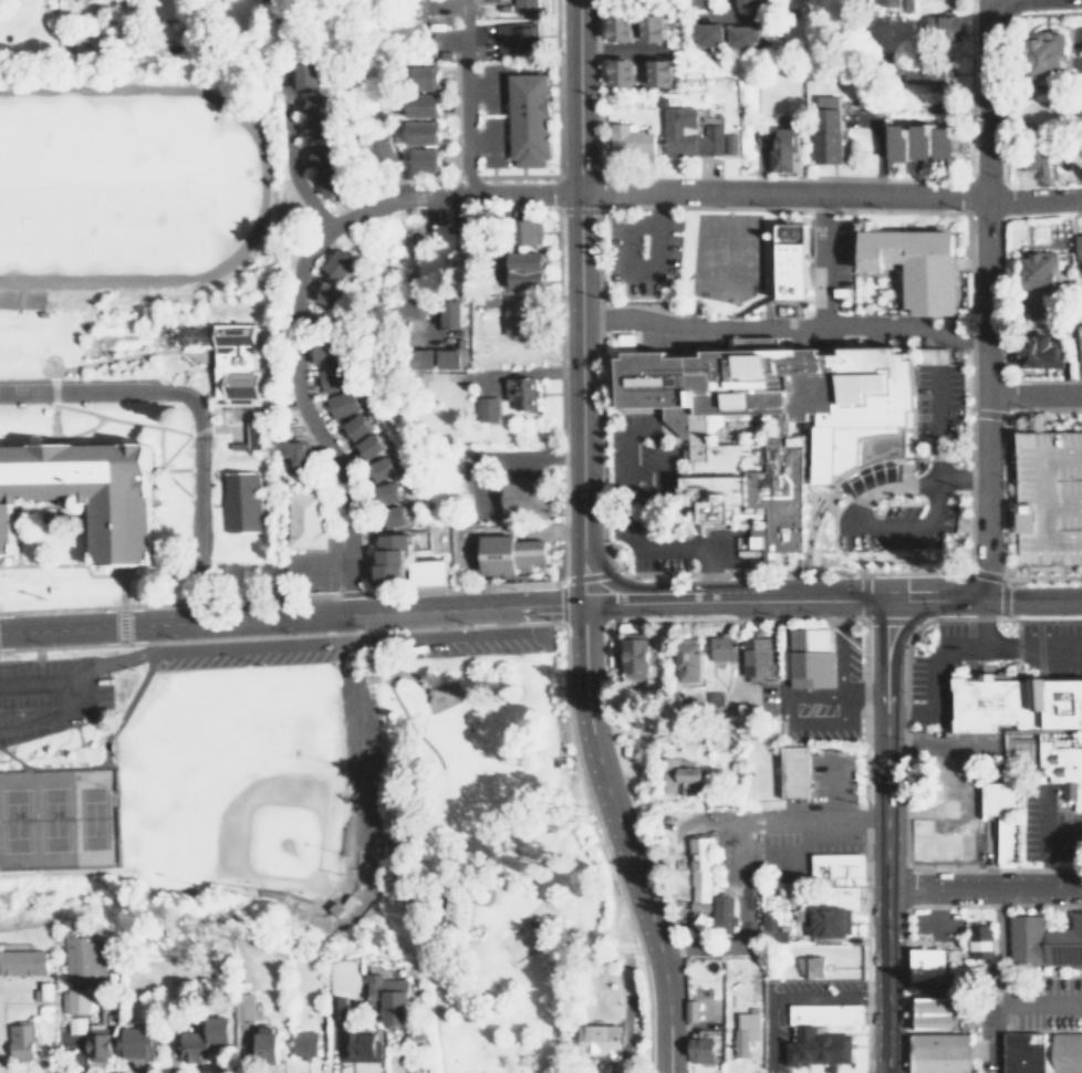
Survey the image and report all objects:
building: (887, 1)
building: (701, 2)
building: (748, 2)
building: (524, 6)
road: (720, 7)
building: (944, 25)
building: (622, 27)
building: (655, 27)
building: (707, 33)
building: (741, 35)
building: (517, 37)
road: (617, 49)
building: (1045, 51)
building: (622, 71)
building: (659, 71)
building: (306, 75)
building: (425, 76)
building: (927, 77)
road: (468, 101)
building: (321, 104)
building: (423, 104)
building: (529, 118)
building: (318, 128)
building: (829, 128)
building: (423, 132)
building: (689, 133)
building: (631, 138)
building: (913, 140)
building: (731, 143)
building: (946, 144)
building: (783, 147)
building: (383, 148)
building: (322, 153)
road: (292, 157)
building: (425, 159)
building: (1037, 164)
building: (330, 179)
park: (82, 181)
track: (121, 184)
road: (774, 194)
building: (529, 231)
building: (1079, 248)
road: (576, 252)
building: (436, 253)
parking lot: (641, 253)
park: (722, 259)
building: (792, 260)
road: (819, 260)
building: (341, 264)
building: (918, 265)
building: (527, 269)
building: (1039, 269)
road: (643, 270)
building: (333, 295)
road: (984, 300)
building: (450, 312)
building: (514, 317)
road: (362, 321)
road: (781, 325)
building: (1081, 340)
road: (299, 350)
building: (1040, 350)
building: (325, 351)
building: (425, 357)
building: (449, 357)
building: (335, 377)
building: (522, 392)
road: (1032, 392)
building: (343, 403)
building: (487, 408)
parking lot: (936, 408)
road: (191, 413)
building: (358, 426)
road: (653, 429)
building: (253, 434)
building: (372, 445)
road: (935, 447)
building: (738, 449)
building: (296, 451)
building: (383, 468)
building: (389, 492)
building: (1050, 494)
parking lot: (1050, 494)
parking lot: (641, 496)
building: (85, 497)
building: (523, 497)
building: (243, 500)
building: (395, 517)
building: (304, 519)
road: (857, 524)
parking lot: (896, 525)
road: (668, 546)
building: (509, 553)
road: (579, 553)
building: (393, 554)
road: (601, 570)
building: (427, 571)
road: (770, 600)
traffic signals: (878, 600)
road: (980, 600)
road: (621, 602)
road: (290, 618)
parking lot: (449, 647)
road: (1031, 647)
building: (719, 649)
building: (753, 656)
road: (121, 657)
building: (631, 658)
building: (807, 658)
parking lot: (239, 659)
building: (684, 661)
road: (935, 665)
flagpole: (984, 667)
road: (80, 695)
building: (439, 695)
parking lot: (45, 697)
building: (1016, 706)
building: (1061, 769)
building: (791, 772)
building: (675, 774)
park: (228, 781)
road: (828, 791)
park: (59, 815)
building: (987, 819)
road: (822, 825)
road: (1043, 832)
road: (883, 835)
road: (616, 838)
building: (936, 844)
park: (485, 858)
building: (833, 867)
building: (696, 869)
road: (981, 886)
building: (718, 913)
building: (454, 916)
road: (741, 919)
building: (825, 921)
building: (768, 924)
building: (980, 940)
building: (1041, 945)
building: (80, 958)
building: (22, 961)
building: (808, 967)
building: (932, 975)
road: (998, 980)
road: (1040, 992)
road: (788, 996)
building: (70, 1001)
building: (243, 1004)
building: (937, 1013)
building: (373, 1020)
building: (741, 1032)
building: (819, 1034)
building: (87, 1036)
building: (200, 1039)
building: (596, 1041)
building: (18, 1042)
building: (133, 1042)
building: (258, 1043)
building: (301, 1044)
building: (698, 1048)
building: (940, 1052)
building: (1041, 1052)

